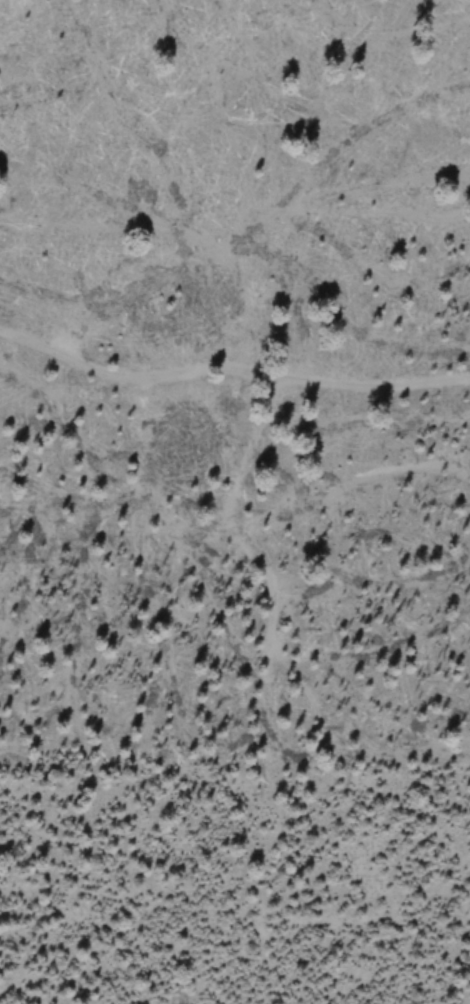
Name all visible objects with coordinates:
road: (232, 376)

